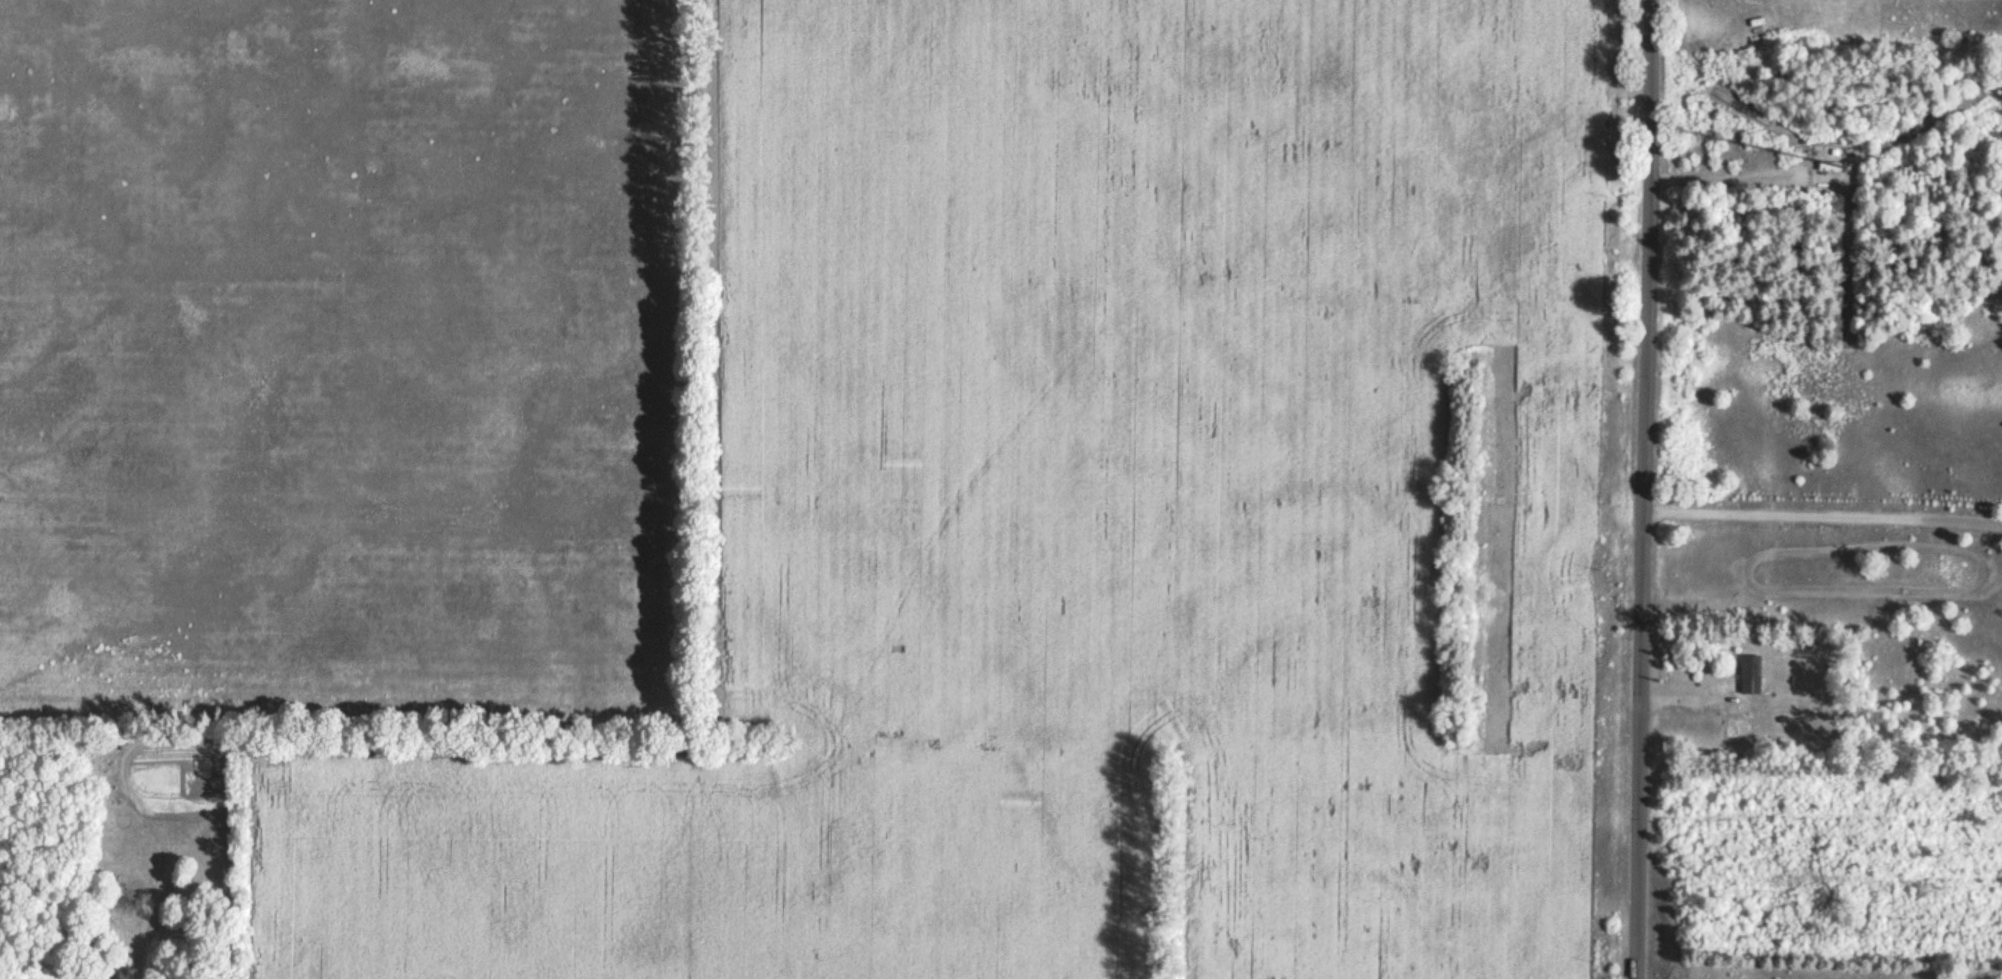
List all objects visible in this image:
road: (1637, 489)
building: (1799, 566)
building: (1748, 676)

